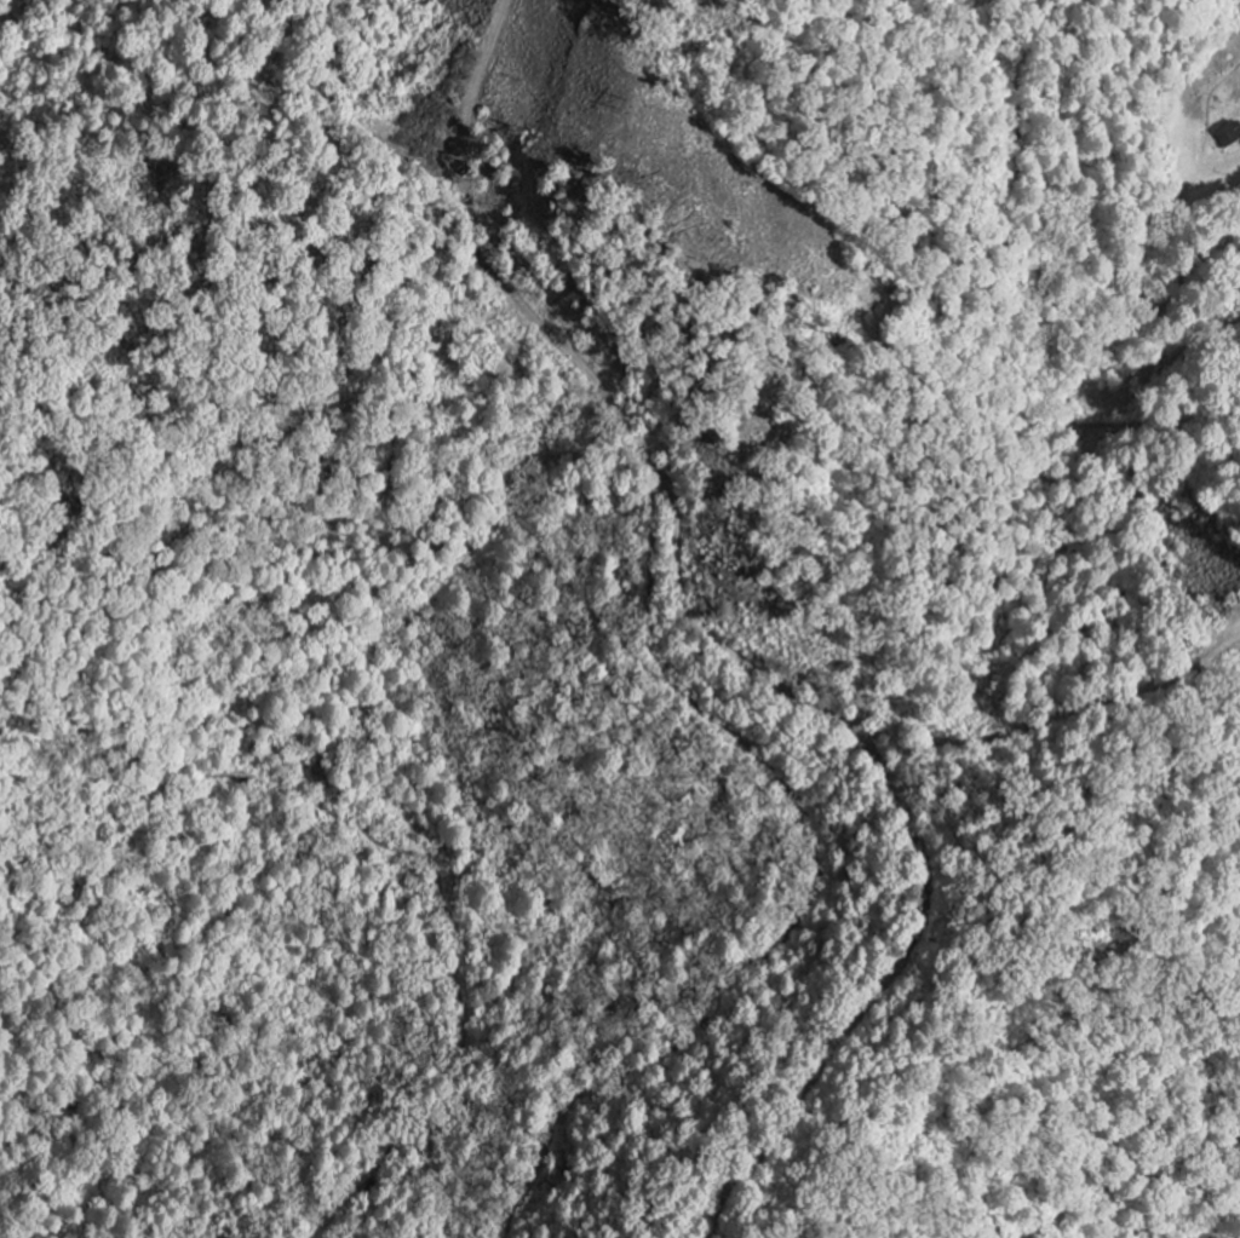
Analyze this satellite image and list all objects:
building: (1228, 137)

